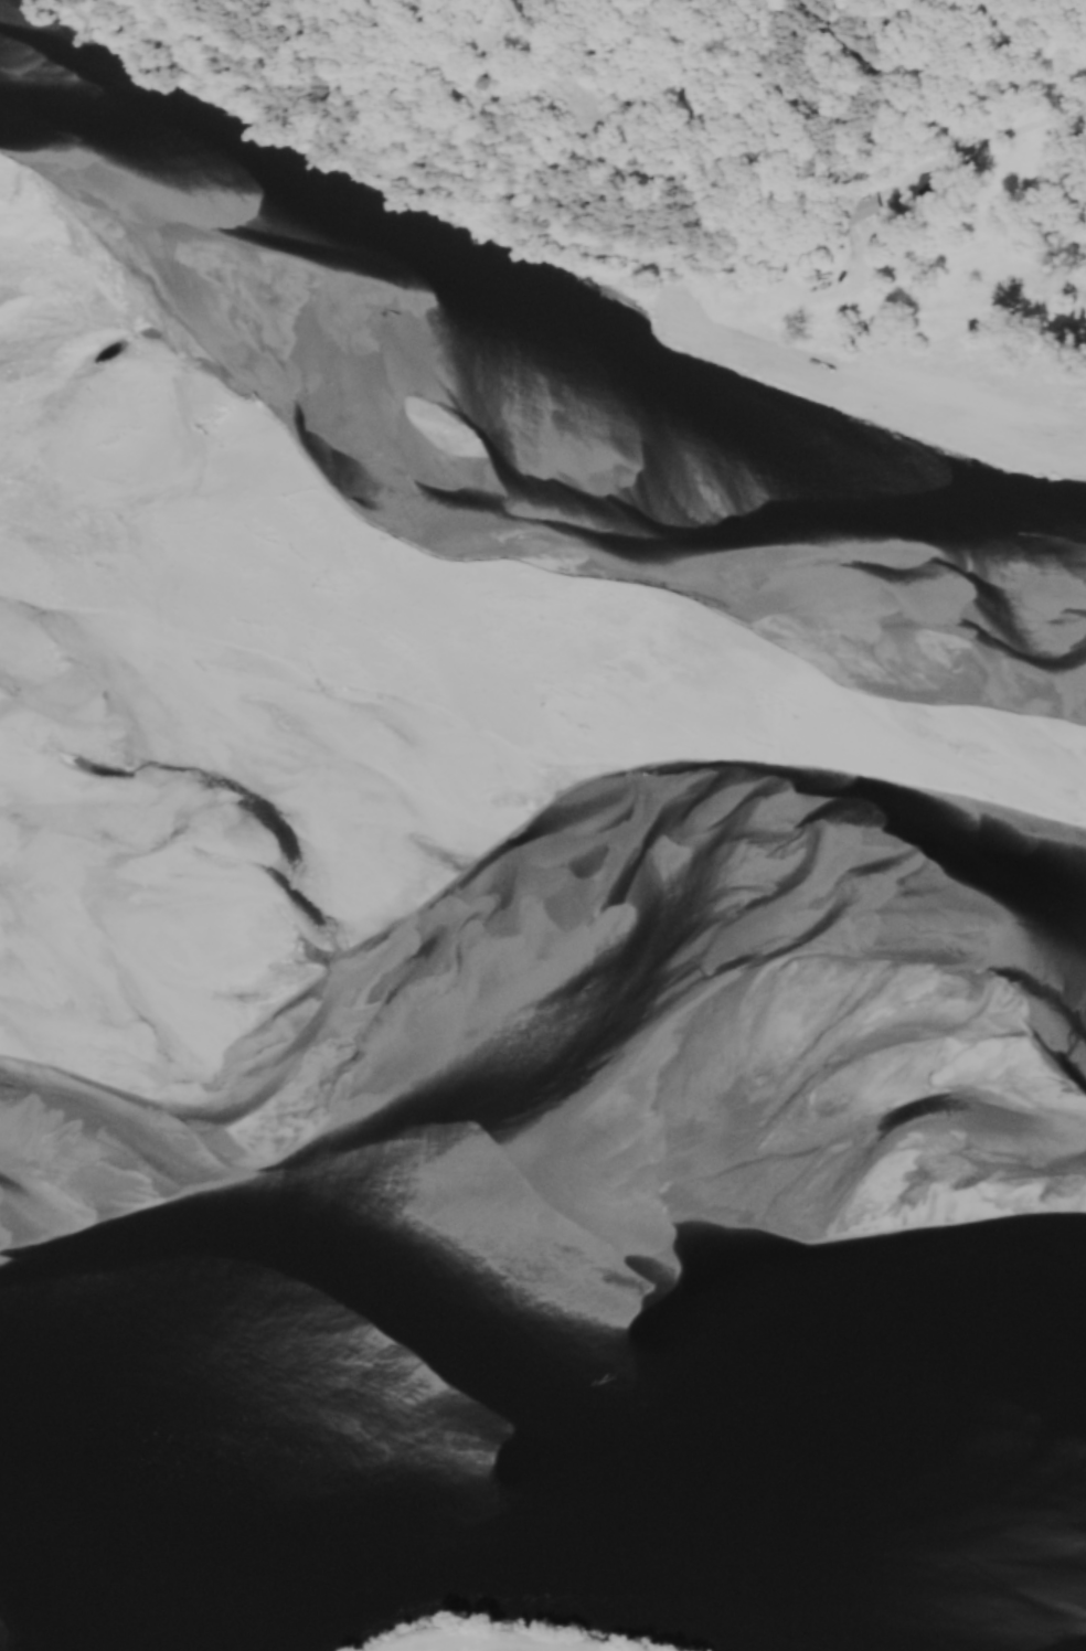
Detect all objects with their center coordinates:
building: (531, 4)
building: (488, 82)
road: (988, 142)
building: (936, 185)
building: (861, 210)
river: (470, 1437)
road: (497, 1642)

